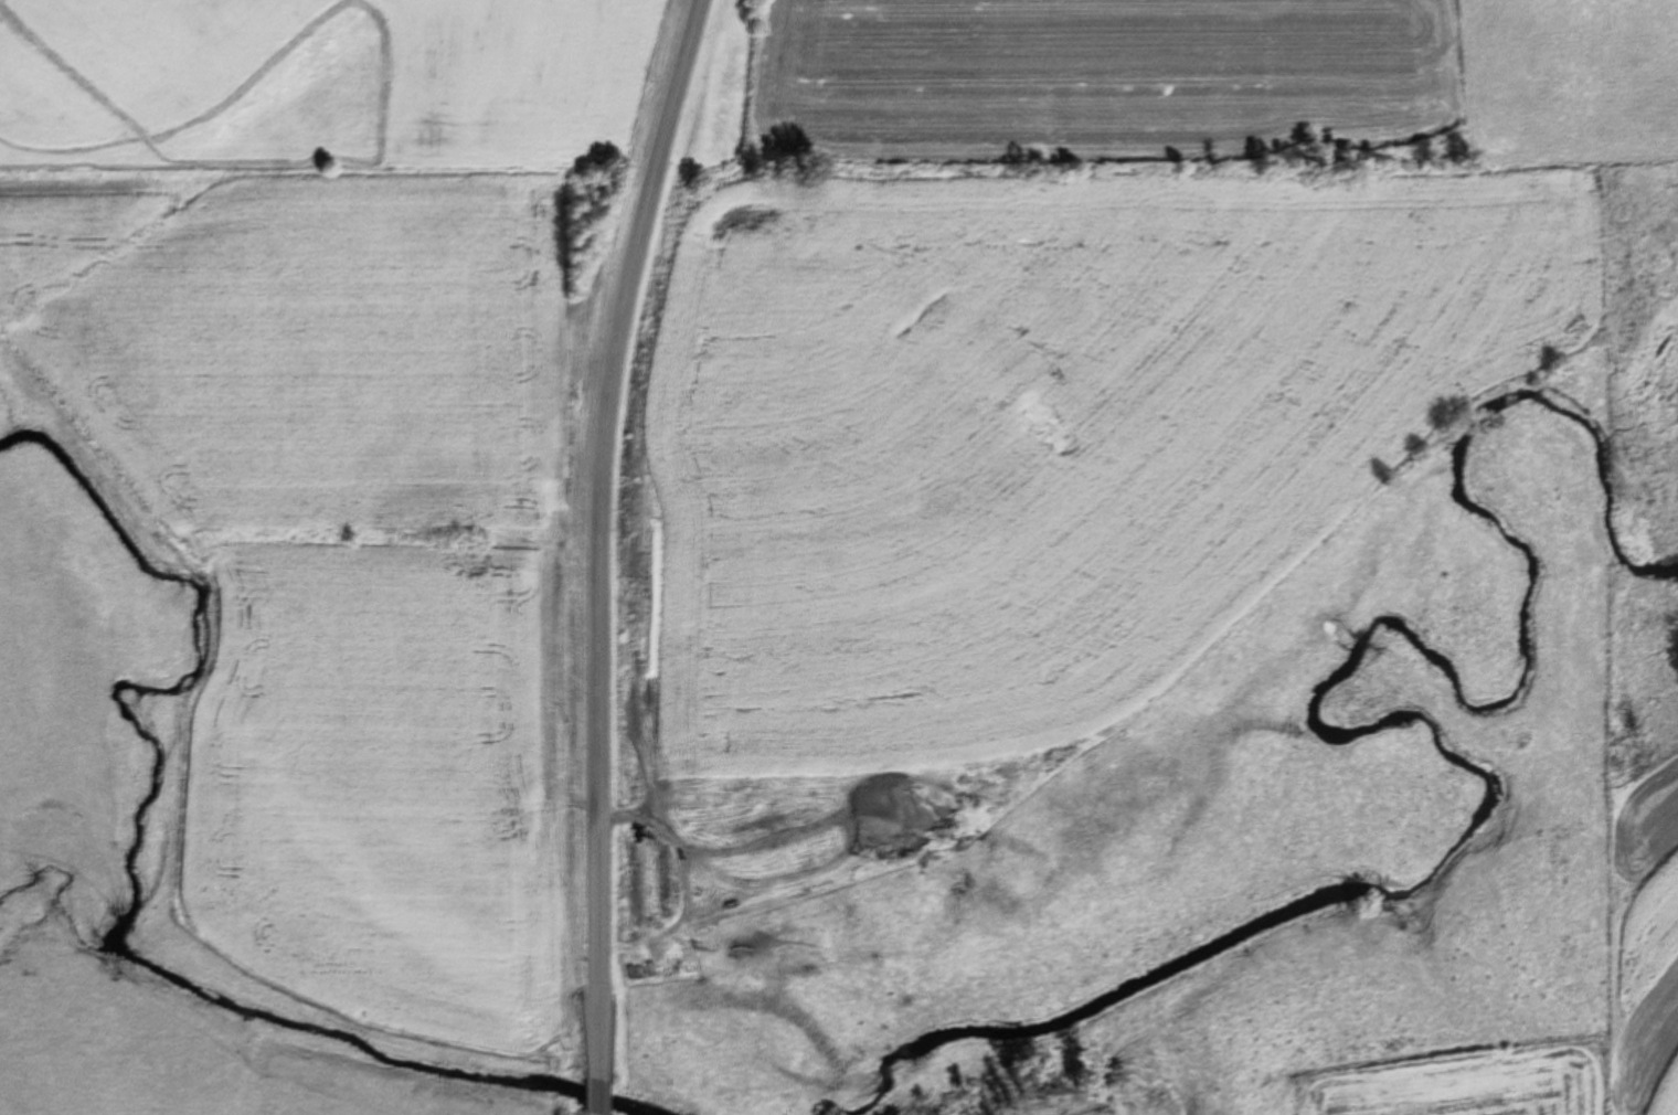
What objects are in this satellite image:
road: (599, 534)
river: (1344, 731)
river: (137, 888)
road: (597, 1097)

